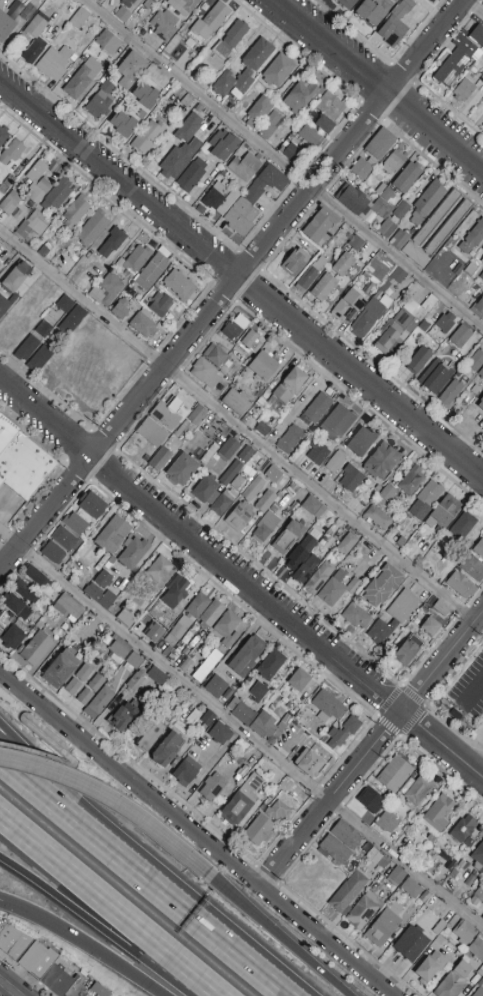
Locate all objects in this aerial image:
building: (156, 0)
building: (202, 0)
building: (425, 0)
building: (431, 0)
building: (396, 1)
building: (128, 3)
building: (148, 4)
building: (347, 4)
building: (183, 6)
road: (474, 7)
building: (371, 13)
building: (10, 15)
building: (122, 15)
building: (80, 18)
building: (210, 22)
building: (36, 25)
building: (164, 25)
building: (396, 25)
building: (477, 36)
building: (230, 39)
building: (108, 42)
building: (34, 50)
building: (258, 55)
building: (74, 58)
building: (457, 59)
building: (54, 62)
building: (130, 70)
building: (278, 70)
building: (481, 71)
building: (482, 74)
building: (83, 78)
building: (233, 83)
road: (379, 85)
building: (464, 90)
building: (146, 96)
building: (300, 96)
building: (482, 98)
building: (99, 99)
building: (187, 101)
building: (199, 109)
building: (327, 109)
building: (205, 111)
building: (258, 112)
building: (477, 113)
building: (142, 114)
building: (122, 124)
building: (269, 126)
building: (188, 128)
building: (3, 135)
building: (310, 135)
building: (278, 136)
building: (147, 137)
building: (381, 144)
building: (224, 147)
building: (12, 152)
building: (409, 155)
building: (295, 156)
building: (179, 159)
building: (394, 162)
road: (283, 164)
building: (245, 167)
building: (361, 169)
building: (192, 175)
building: (407, 177)
building: (38, 182)
building: (380, 189)
building: (58, 194)
building: (388, 194)
building: (215, 195)
building: (253, 200)
building: (354, 201)
building: (425, 201)
building: (10, 202)
building: (228, 203)
building: (382, 208)
building: (401, 210)
building: (76, 211)
building: (437, 218)
building: (33, 225)
building: (320, 225)
building: (388, 227)
building: (92, 228)
building: (448, 228)
building: (400, 238)
building: (473, 238)
building: (112, 242)
building: (356, 243)
building: (68, 244)
building: (482, 249)
building: (44, 250)
building: (415, 255)
building: (75, 259)
building: (136, 259)
building: (295, 262)
building: (482, 263)
building: (342, 264)
building: (379, 269)
building: (446, 269)
building: (470, 270)
building: (152, 272)
building: (311, 273)
building: (401, 274)
building: (16, 277)
road: (242, 279)
building: (111, 284)
road: (231, 284)
building: (179, 286)
building: (324, 287)
building: (96, 295)
building: (6, 303)
building: (65, 304)
building: (161, 304)
building: (350, 304)
building: (120, 309)
building: (478, 309)
building: (434, 315)
building: (370, 316)
building: (72, 321)
building: (404, 322)
building: (445, 322)
building: (144, 323)
building: (43, 329)
building: (231, 330)
building: (457, 335)
building: (250, 339)
building: (27, 348)
building: (217, 357)
building: (39, 358)
building: (419, 360)
building: (475, 361)
building: (263, 365)
building: (481, 373)
building: (458, 374)
building: (207, 376)
building: (438, 378)
building: (286, 389)
building: (259, 393)
building: (450, 394)
building: (235, 402)
building: (261, 403)
building: (481, 404)
building: (316, 409)
building: (168, 414)
building: (197, 415)
building: (338, 422)
road: (238, 425)
building: (6, 431)
building: (152, 433)
building: (482, 436)
building: (290, 439)
building: (361, 442)
building: (170, 447)
building: (229, 448)
building: (318, 453)
building: (246, 454)
building: (381, 461)
building: (335, 462)
building: (24, 467)
road: (59, 467)
building: (182, 469)
building: (229, 473)
building: (274, 476)
building: (351, 478)
building: (411, 481)
building: (237, 482)
building: (252, 489)
building: (206, 490)
building: (295, 490)
building: (387, 493)
building: (426, 500)
building: (266, 501)
building: (223, 502)
building: (92, 506)
building: (275, 507)
building: (313, 507)
building: (444, 513)
building: (240, 517)
building: (377, 517)
building: (334, 519)
building: (75, 523)
building: (463, 526)
building: (265, 527)
building: (113, 535)
building: (289, 536)
building: (65, 539)
building: (401, 541)
building: (325, 542)
building: (347, 544)
building: (469, 544)
building: (478, 550)
building: (53, 553)
building: (300, 553)
building: (133, 554)
building: (112, 559)
building: (108, 565)
building: (472, 568)
building: (306, 569)
building: (158, 571)
building: (37, 577)
building: (320, 577)
building: (105, 578)
road: (241, 579)
building: (461, 585)
building: (382, 586)
building: (337, 587)
building: (179, 589)
building: (24, 590)
building: (117, 592)
building: (100, 596)
building: (15, 605)
building: (403, 606)
building: (68, 607)
building: (438, 607)
building: (138, 614)
building: (211, 614)
building: (359, 614)
building: (188, 618)
building: (124, 619)
building: (135, 626)
building: (430, 626)
building: (228, 629)
building: (381, 630)
building: (154, 632)
road: (442, 637)
building: (13, 638)
building: (115, 646)
building: (36, 649)
building: (408, 651)
building: (247, 656)
building: (135, 661)
building: (271, 664)
building: (186, 665)
building: (207, 666)
building: (61, 668)
building: (84, 673)
building: (158, 676)
building: (298, 681)
building: (96, 683)
building: (135, 683)
building: (73, 687)
building: (216, 687)
road: (402, 687)
parking lot: (471, 691)
building: (258, 692)
road: (474, 693)
building: (85, 696)
road: (431, 696)
building: (99, 703)
building: (289, 704)
building: (328, 706)
building: (241, 711)
building: (193, 717)
road: (24, 719)
building: (121, 719)
building: (207, 719)
building: (352, 725)
building: (269, 726)
road: (241, 729)
building: (220, 733)
building: (150, 736)
building: (336, 738)
road: (371, 748)
building: (166, 749)
road: (37, 753)
building: (310, 763)
building: (186, 771)
road: (441, 771)
building: (395, 774)
building: (213, 787)
building: (416, 790)
building: (290, 791)
building: (371, 800)
building: (241, 801)
road: (116, 804)
building: (277, 811)
building: (437, 814)
building: (388, 822)
building: (259, 830)
building: (464, 830)
road: (109, 831)
building: (346, 835)
road: (197, 836)
building: (365, 846)
park: (1, 847)
building: (335, 849)
building: (478, 857)
building: (378, 860)
building: (462, 865)
building: (395, 877)
road: (142, 879)
building: (471, 881)
building: (411, 888)
building: (348, 892)
park: (18, 893)
building: (477, 896)
road: (112, 905)
building: (328, 911)
building: (362, 911)
road: (97, 916)
building: (482, 917)
building: (336, 918)
building: (384, 926)
building: (464, 933)
road: (284, 937)
building: (14, 942)
building: (411, 943)
road: (83, 945)
building: (476, 949)
building: (458, 954)
building: (39, 961)
building: (430, 967)
building: (479, 969)
building: (455, 979)
building: (60, 981)
building: (480, 983)
road: (8, 988)
building: (99, 990)
building: (479, 992)

